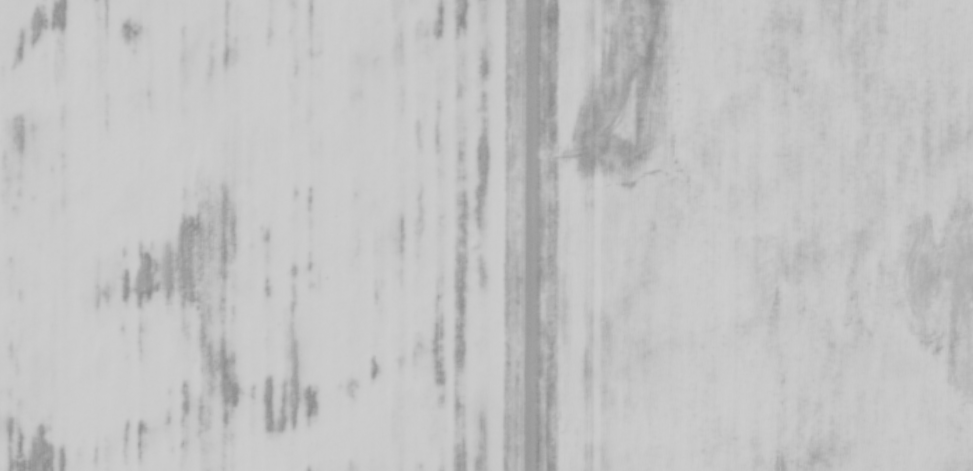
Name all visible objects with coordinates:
road: (531, 235)

